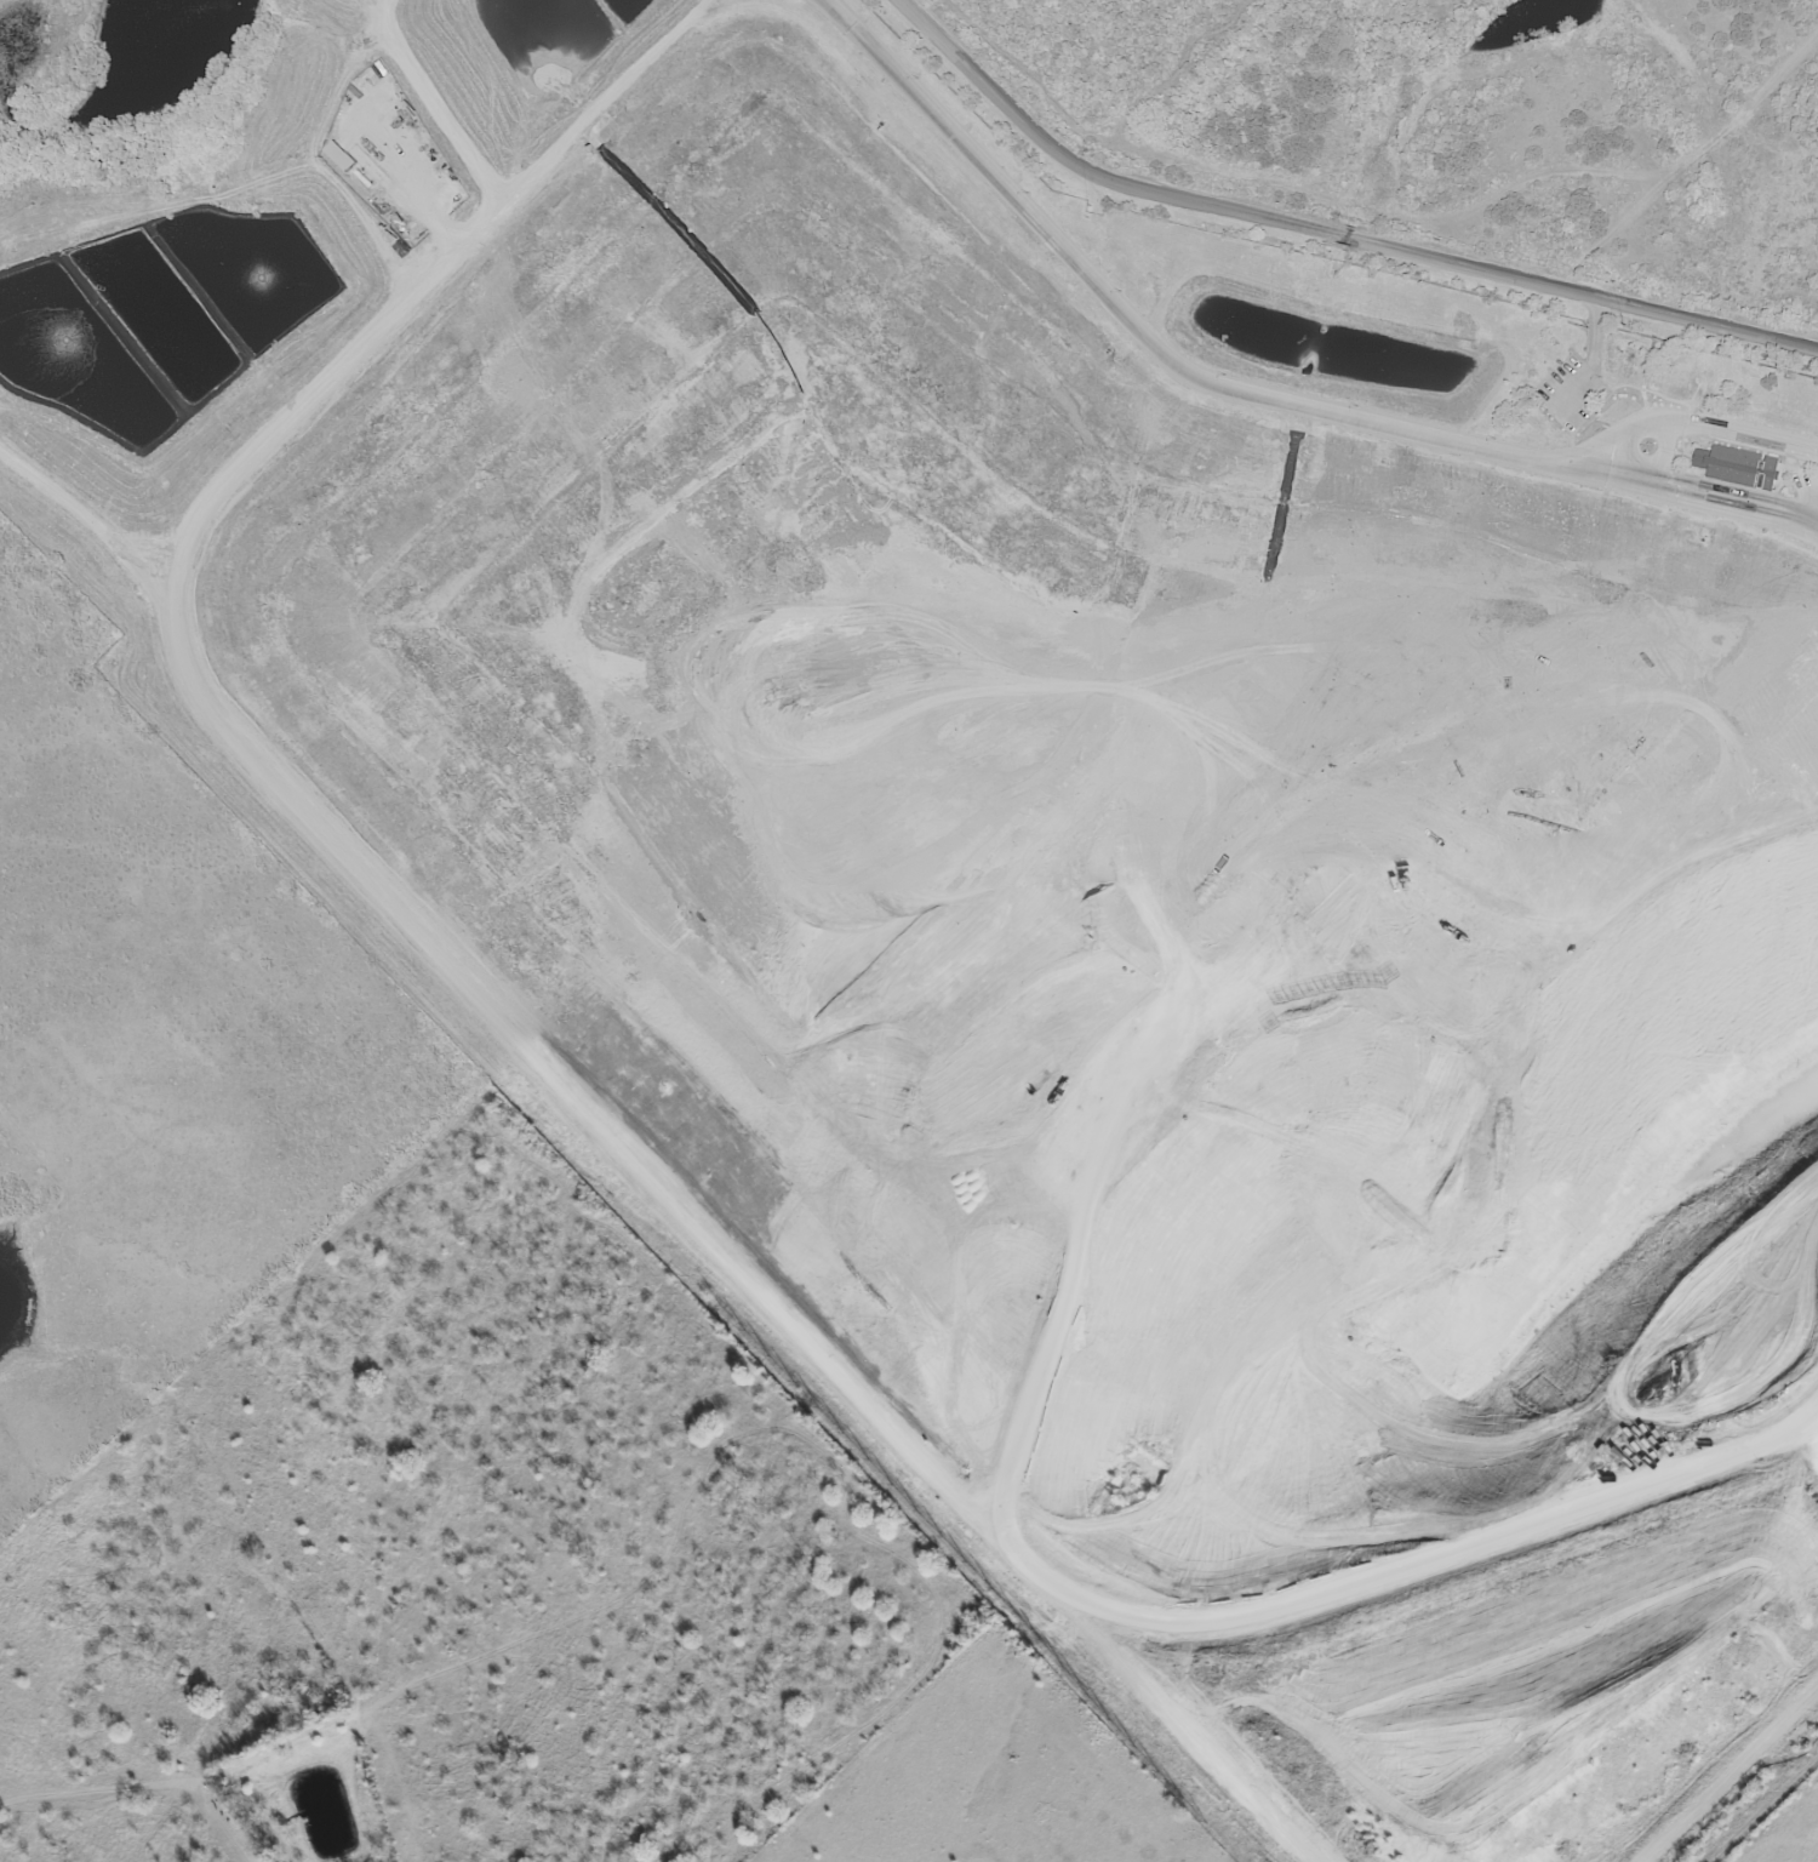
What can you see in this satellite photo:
road: (379, 11)
road: (445, 112)
building: (337, 156)
building: (365, 164)
road: (1327, 234)
road: (1242, 394)
road: (1677, 423)
building: (1736, 467)
landfill: (1022, 838)
road: (581, 1102)
road: (1812, 1430)
road: (1185, 1726)
road: (1727, 1774)

